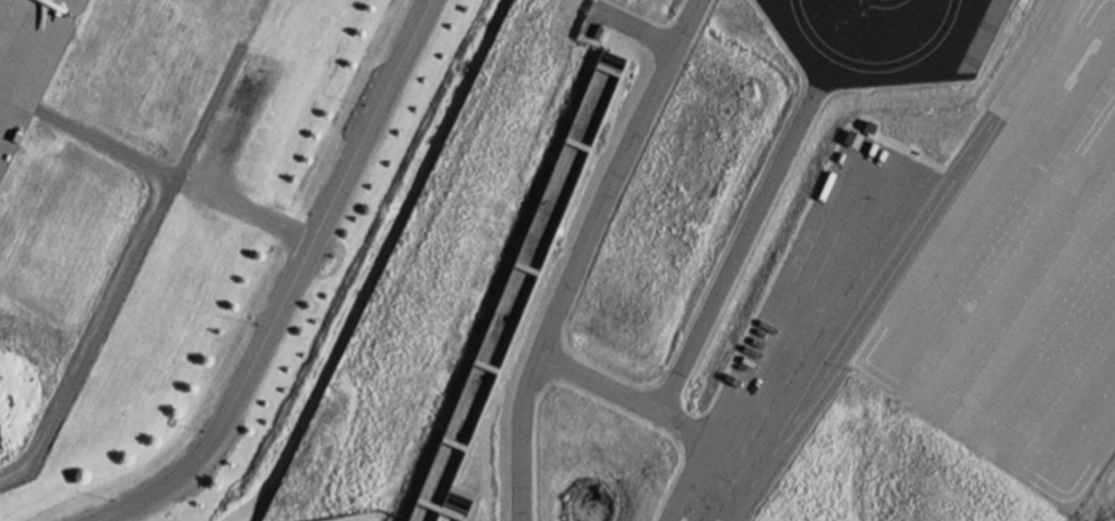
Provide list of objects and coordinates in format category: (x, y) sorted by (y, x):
road: (642, 31)
airport apron: (29, 59)
building: (871, 130)
road: (106, 142)
building: (854, 142)
road: (202, 182)
airport: (200, 232)
road: (743, 243)
raceway: (899, 262)
road: (129, 272)
road: (290, 286)
building: (514, 299)
park: (514, 299)
road: (559, 306)
road: (523, 436)
road: (740, 451)
airport: (367, 516)

